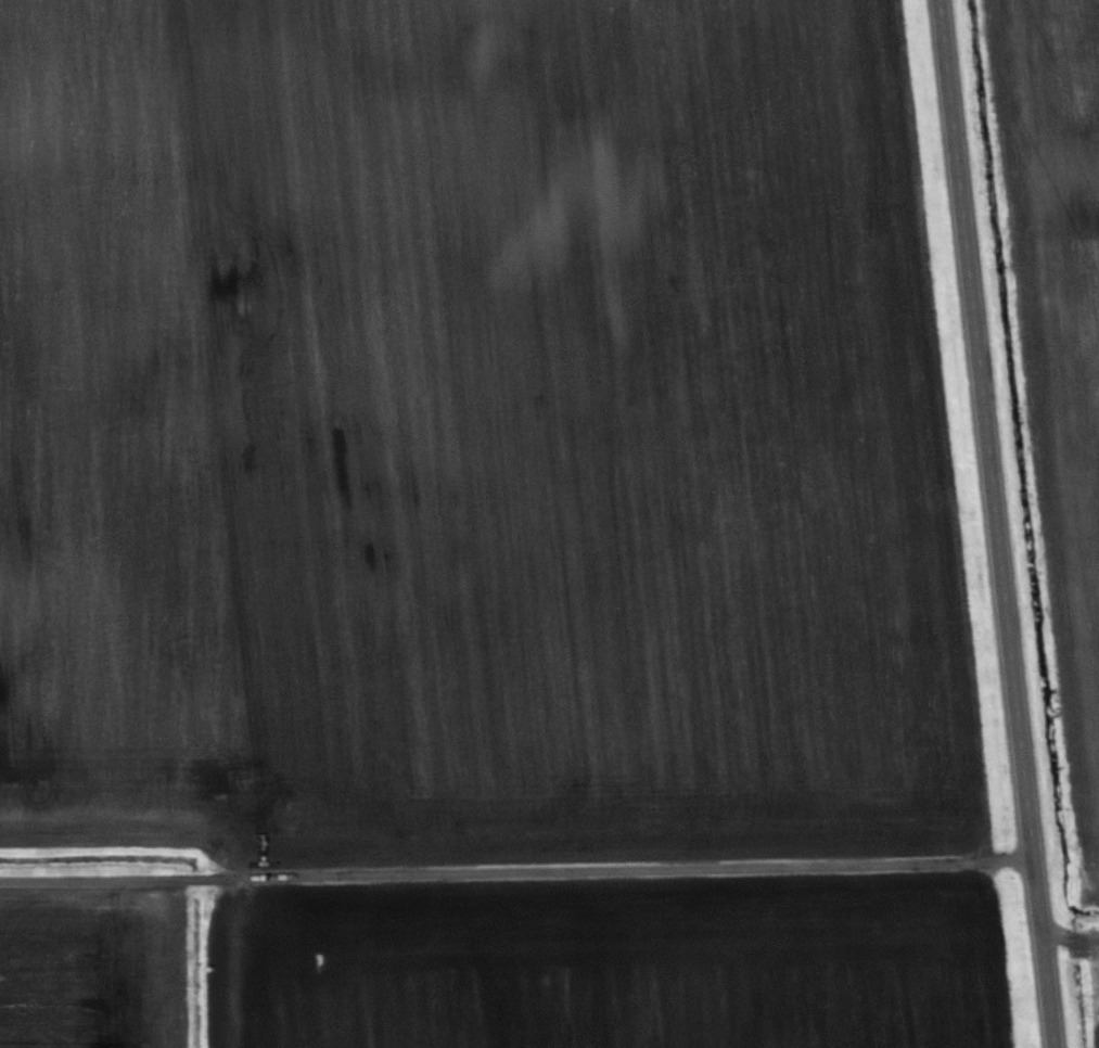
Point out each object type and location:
road: (996, 524)
road: (516, 872)

